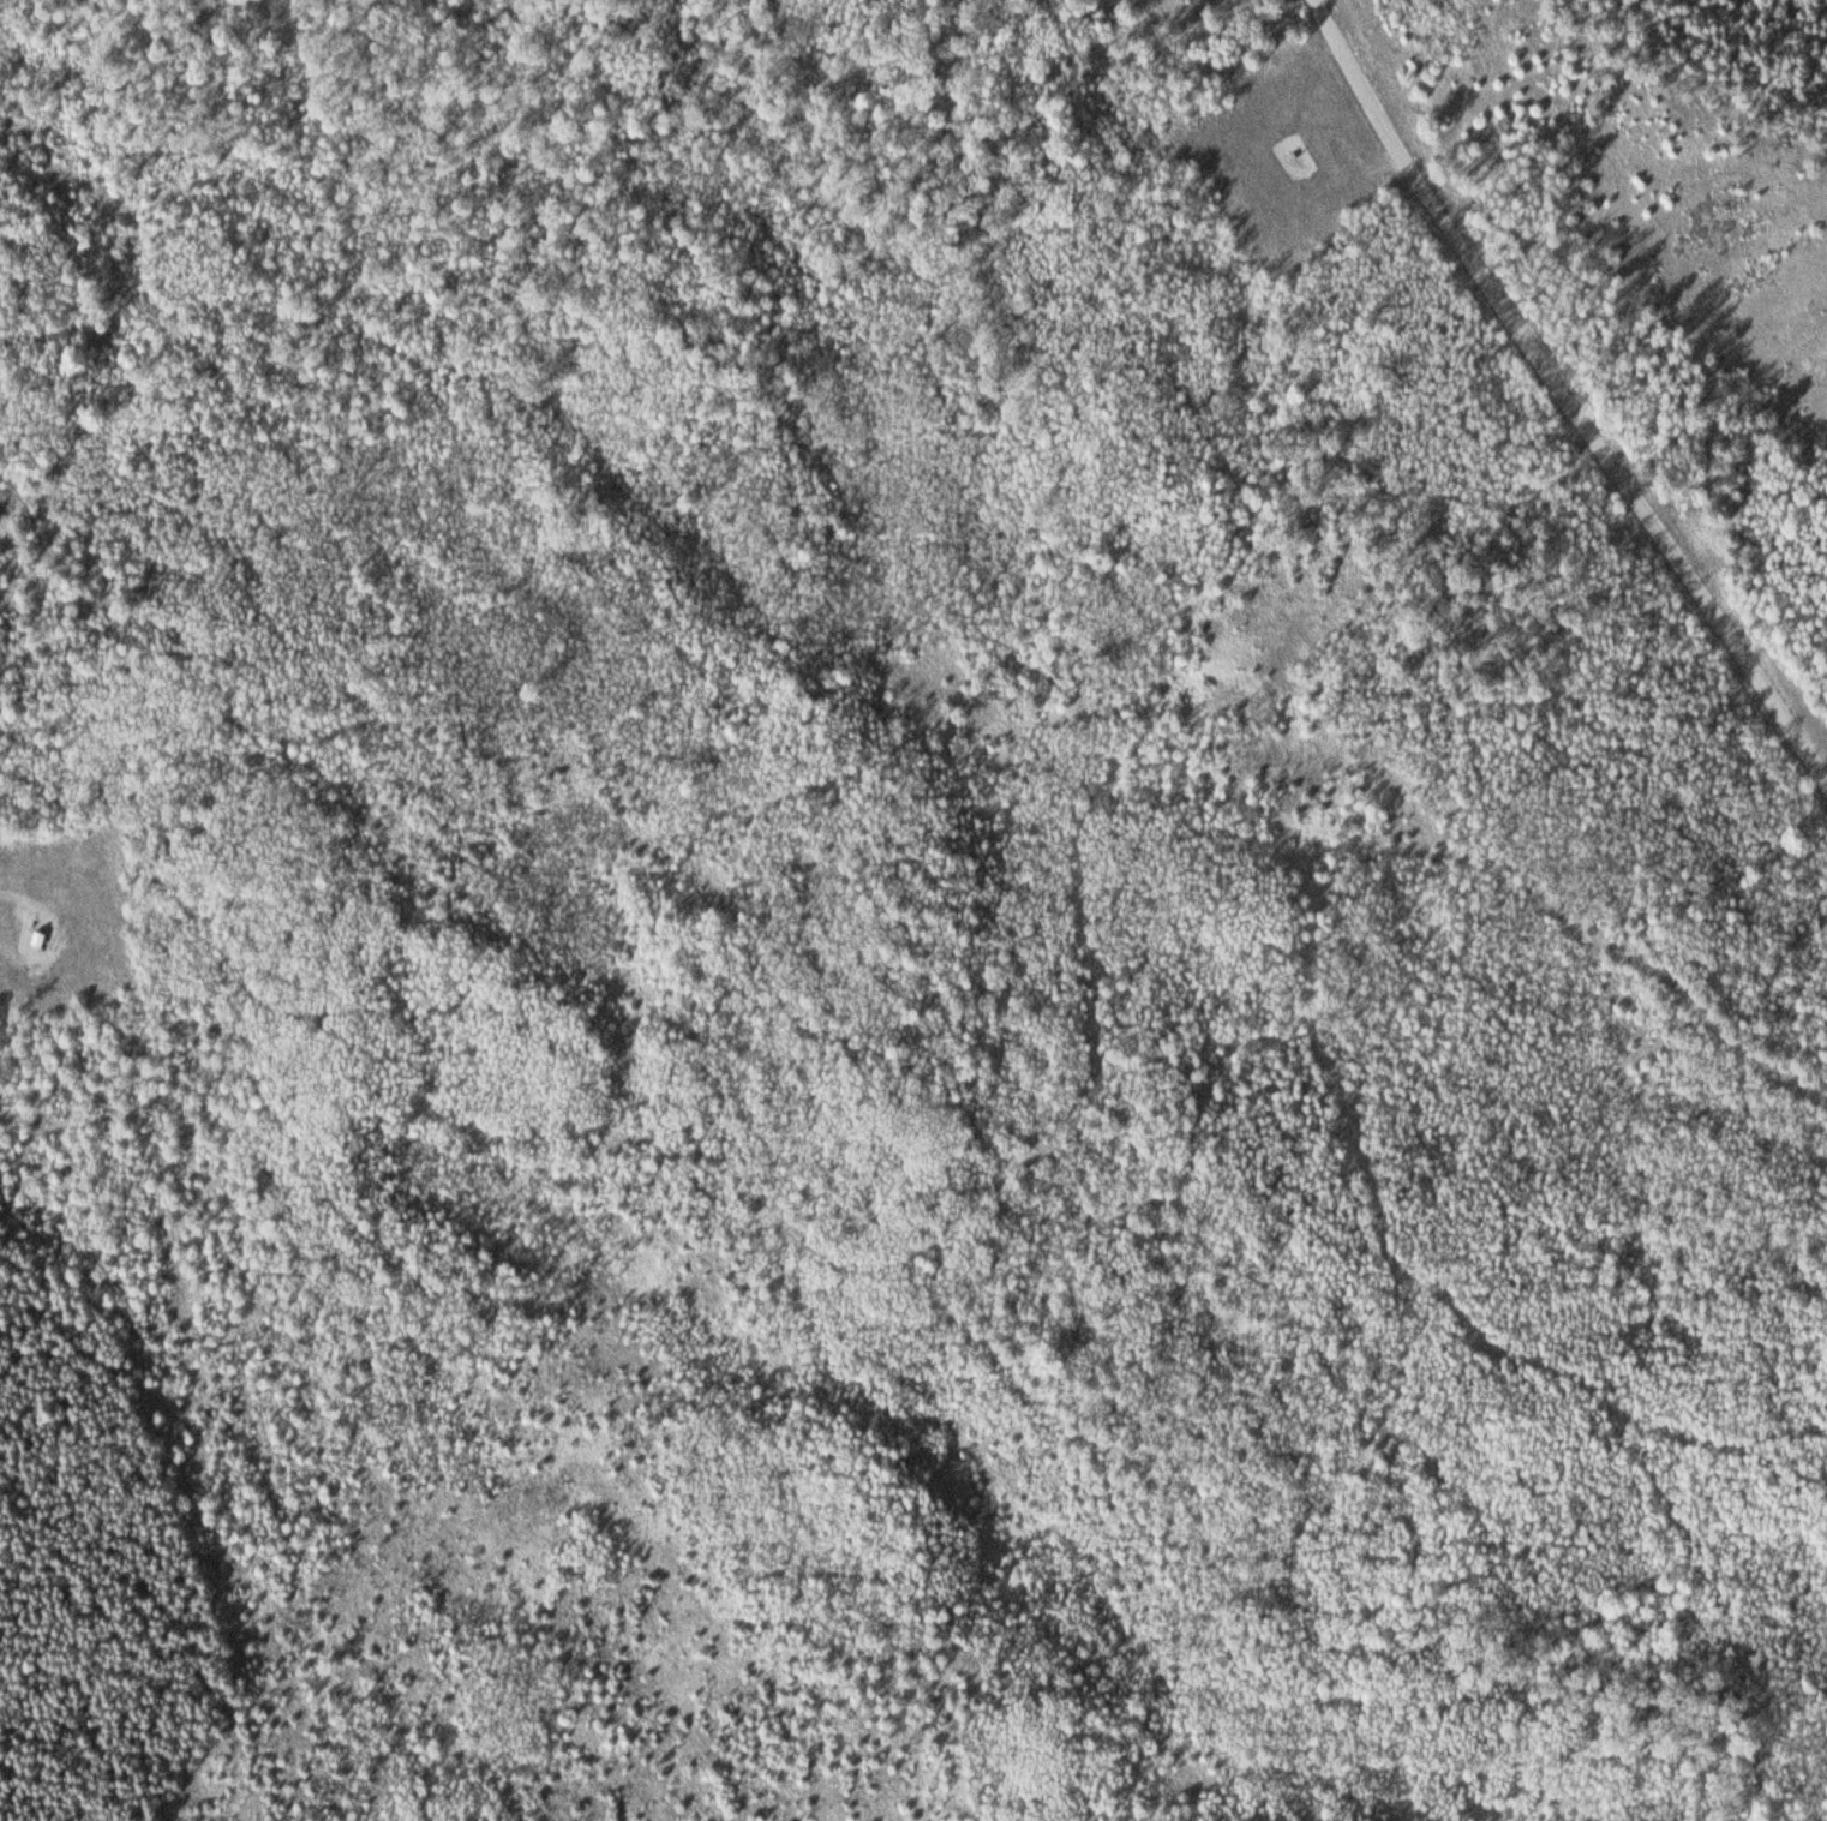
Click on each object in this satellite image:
petroleum well: (1301, 146)
road: (1558, 378)
road: (10, 900)
petroleum well: (41, 932)
building: (42, 939)

